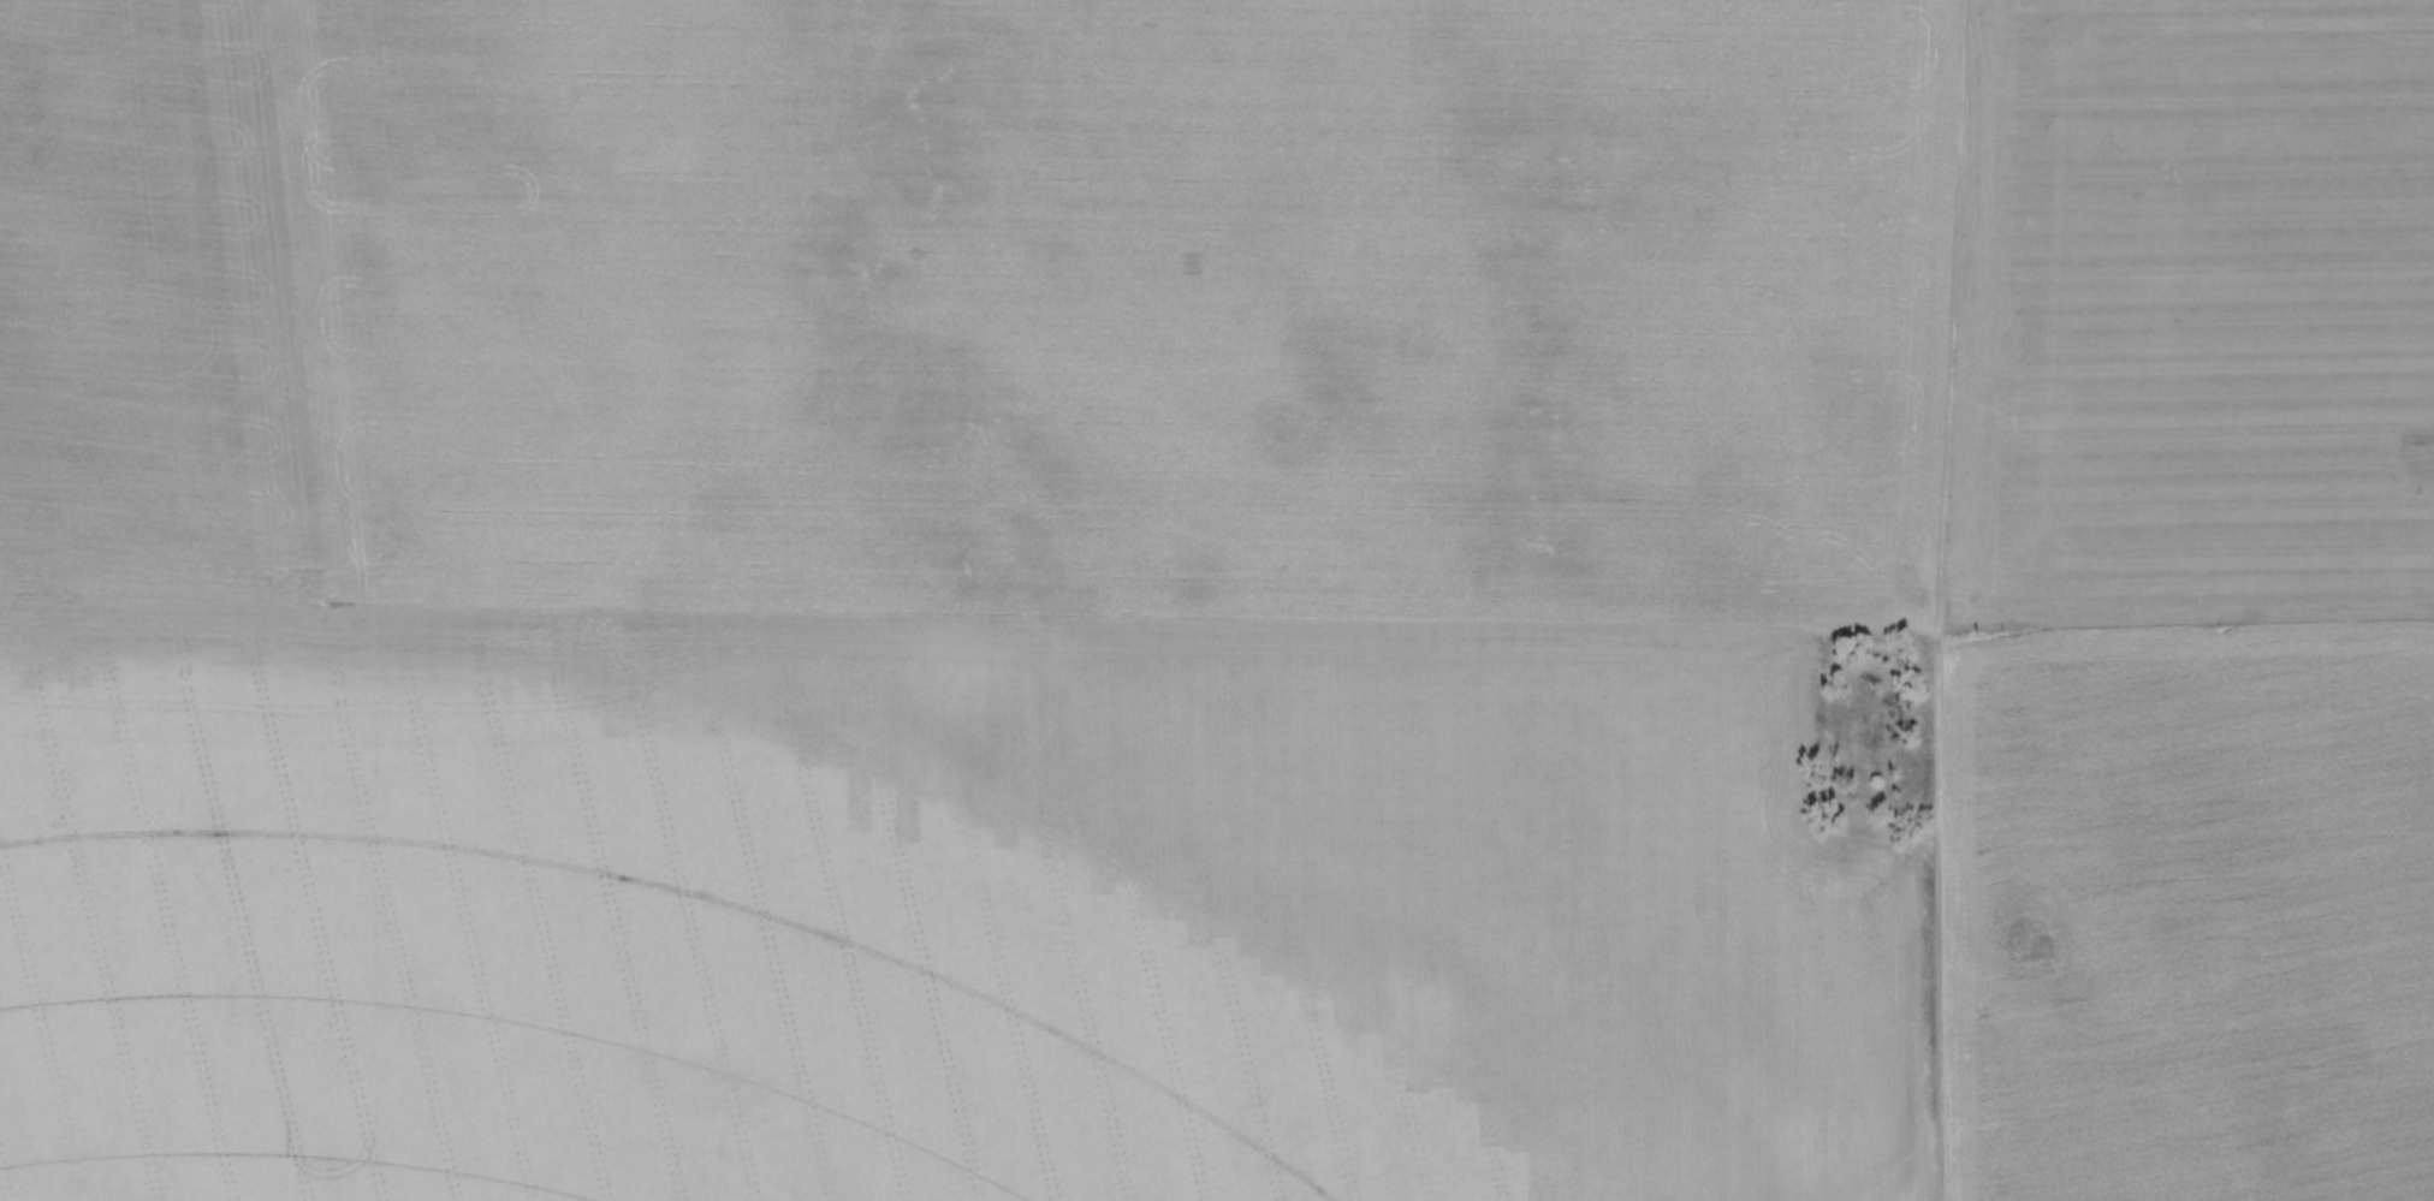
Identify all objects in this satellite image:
crop: (1209, 599)

